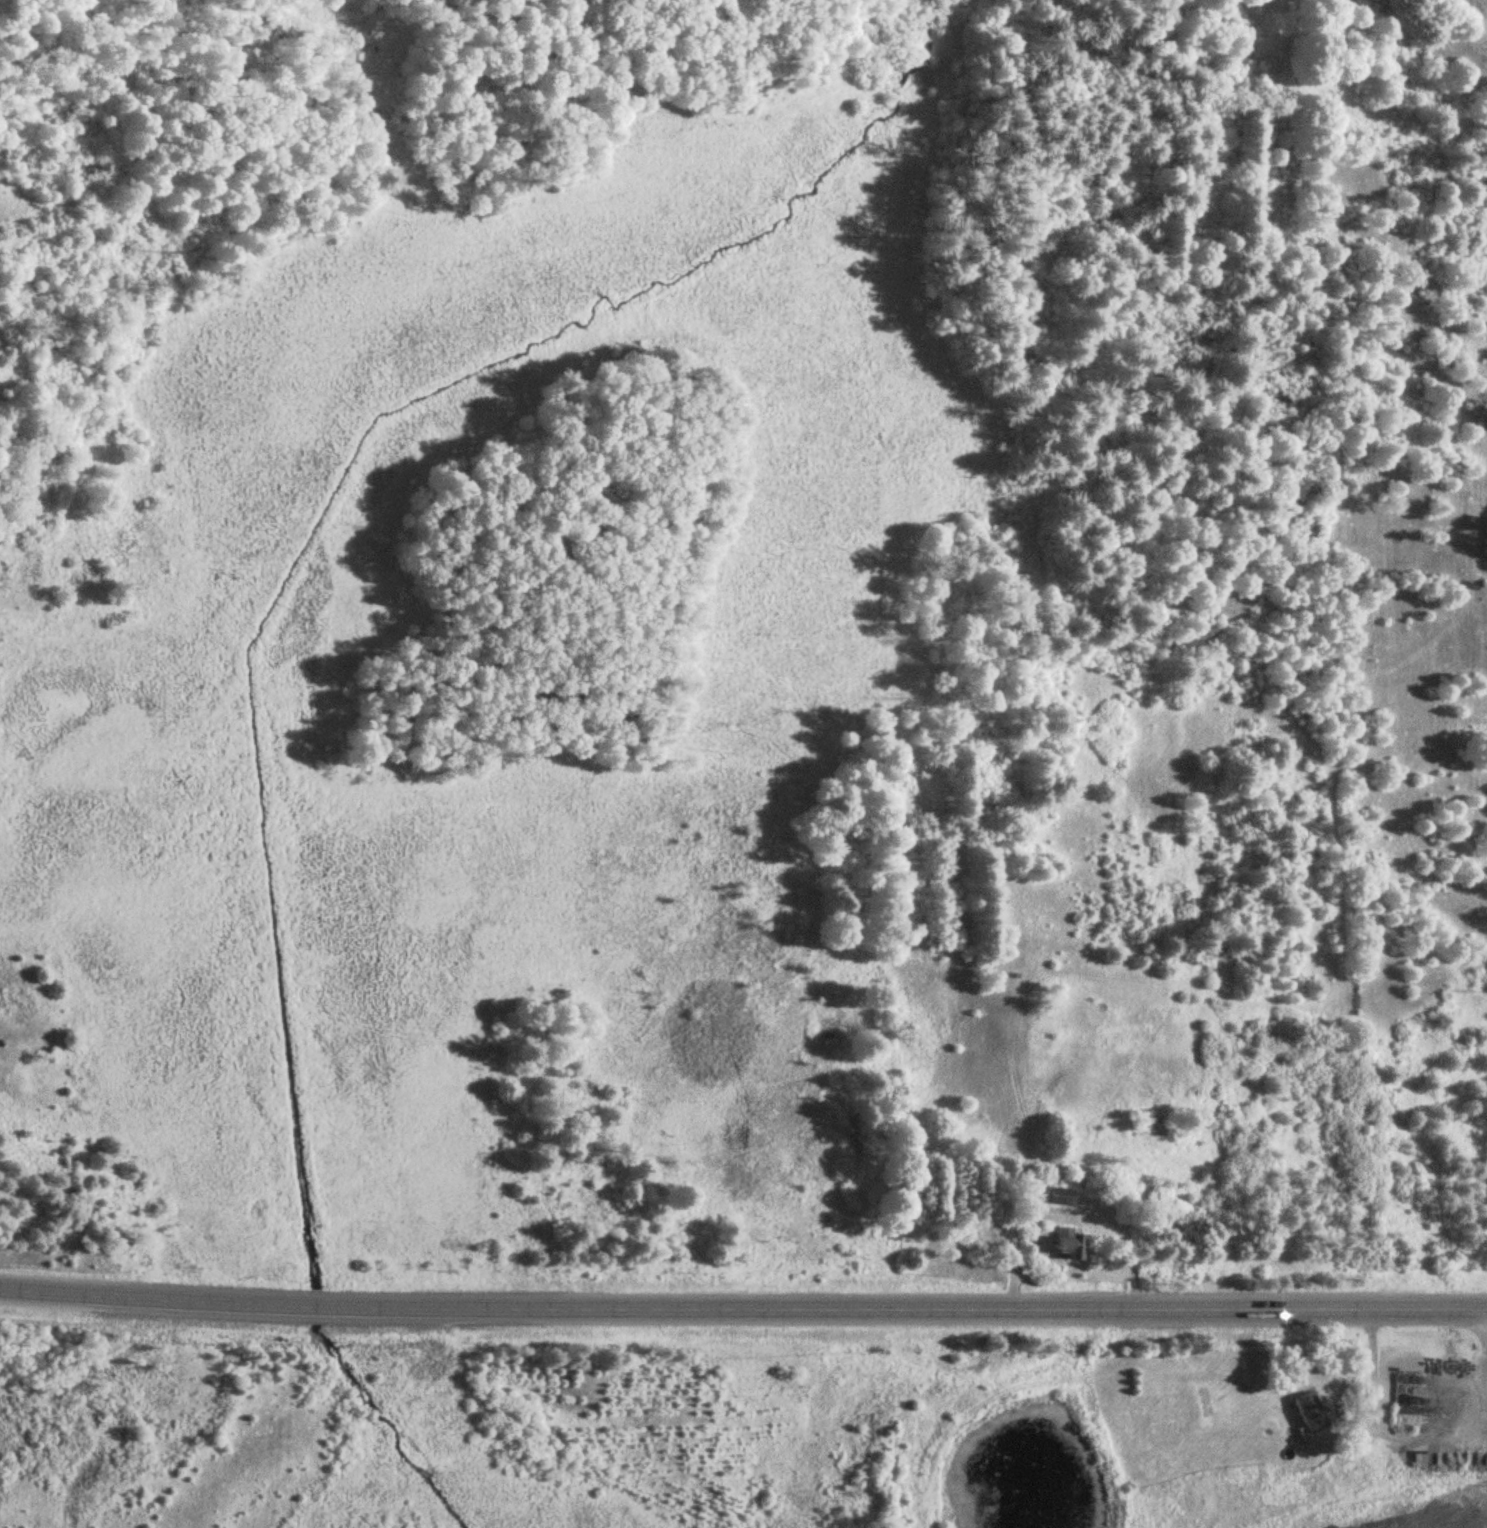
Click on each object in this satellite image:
building: (1059, 1196)
building: (1069, 1243)
road: (743, 1308)
building: (1309, 1411)
road: (1370, 1427)

